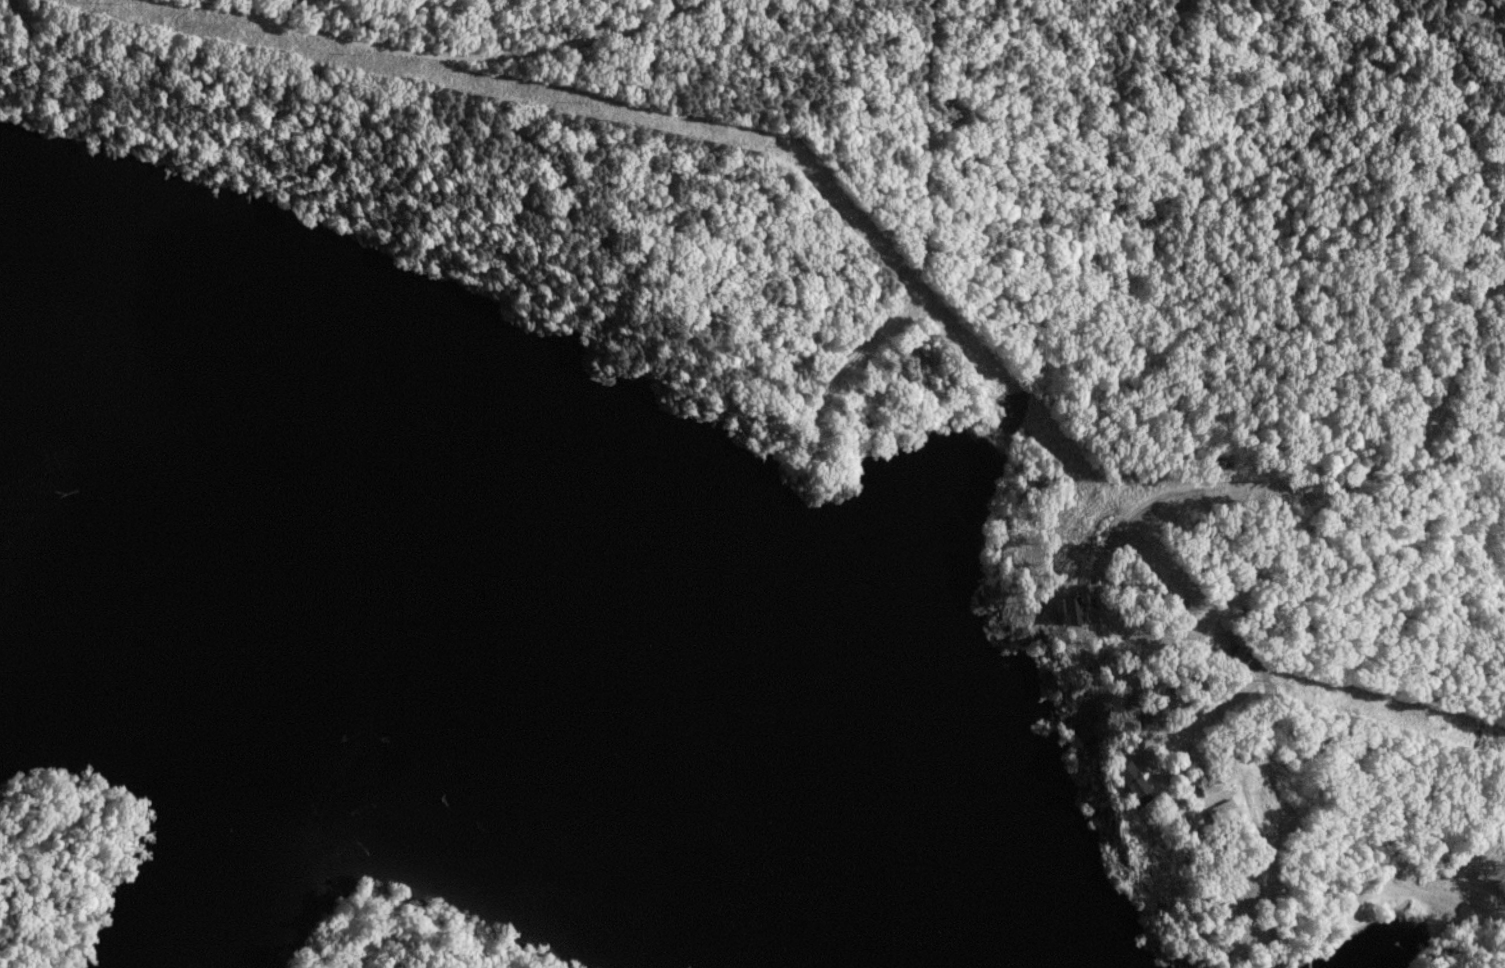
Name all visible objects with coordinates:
road: (442, 56)
road: (922, 242)
road: (1330, 499)
river: (529, 655)
building: (1248, 658)
road: (1166, 755)
building: (1136, 780)
building: (1215, 786)
building: (1229, 813)

